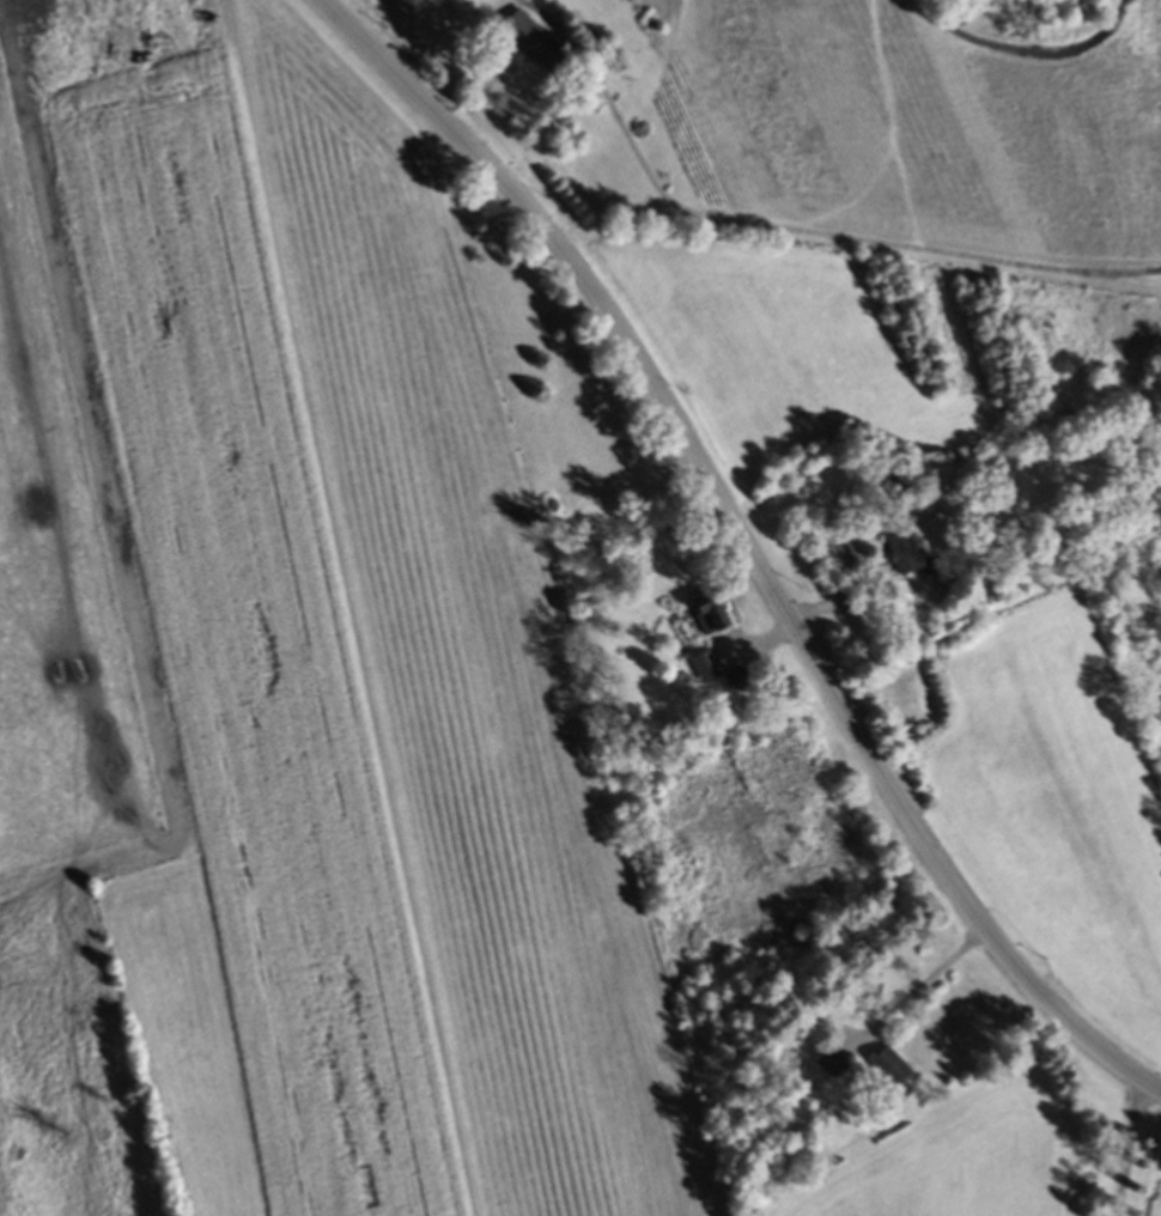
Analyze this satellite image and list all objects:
building: (452, 0)
building: (531, 44)
road: (743, 548)
building: (833, 551)
building: (904, 554)
building: (711, 616)
building: (707, 670)
building: (737, 685)
road: (911, 986)
building: (833, 1066)
road: (1131, 1148)

